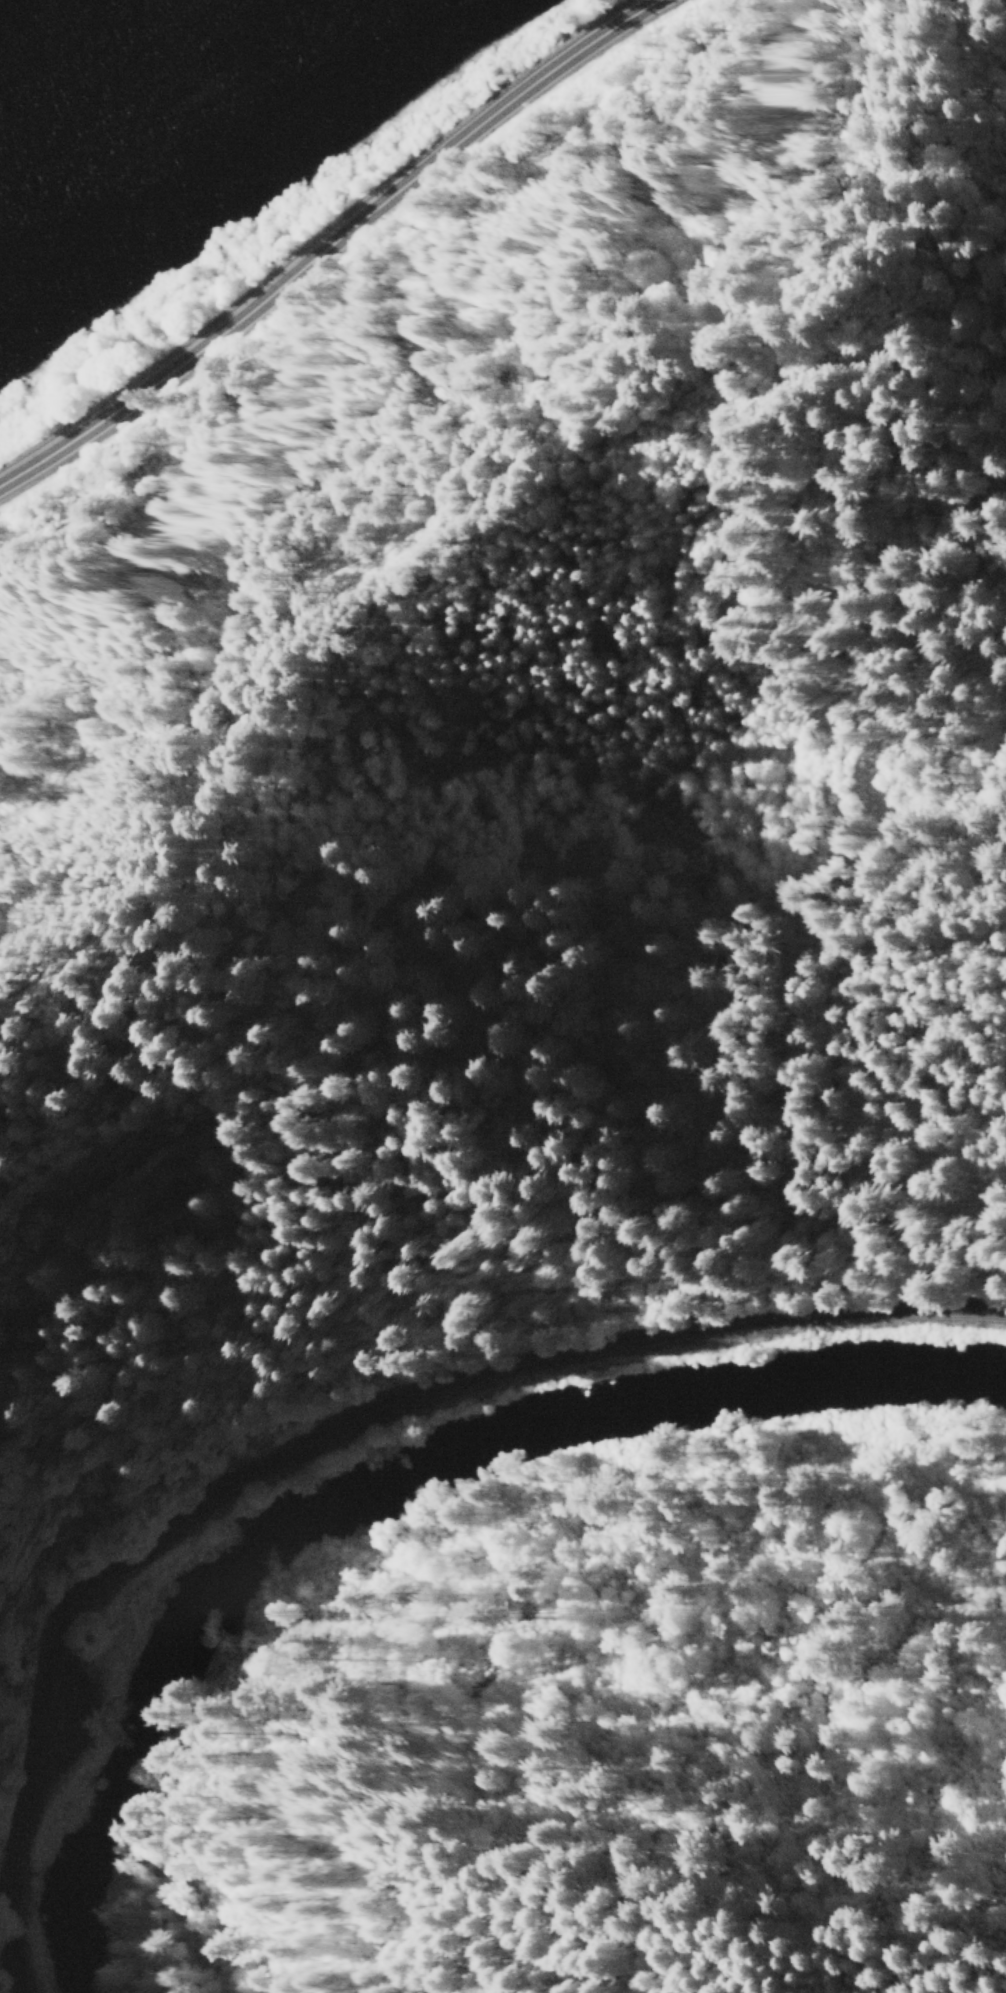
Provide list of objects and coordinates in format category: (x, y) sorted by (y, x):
river: (100, 54)
road: (331, 244)
road: (393, 1407)

